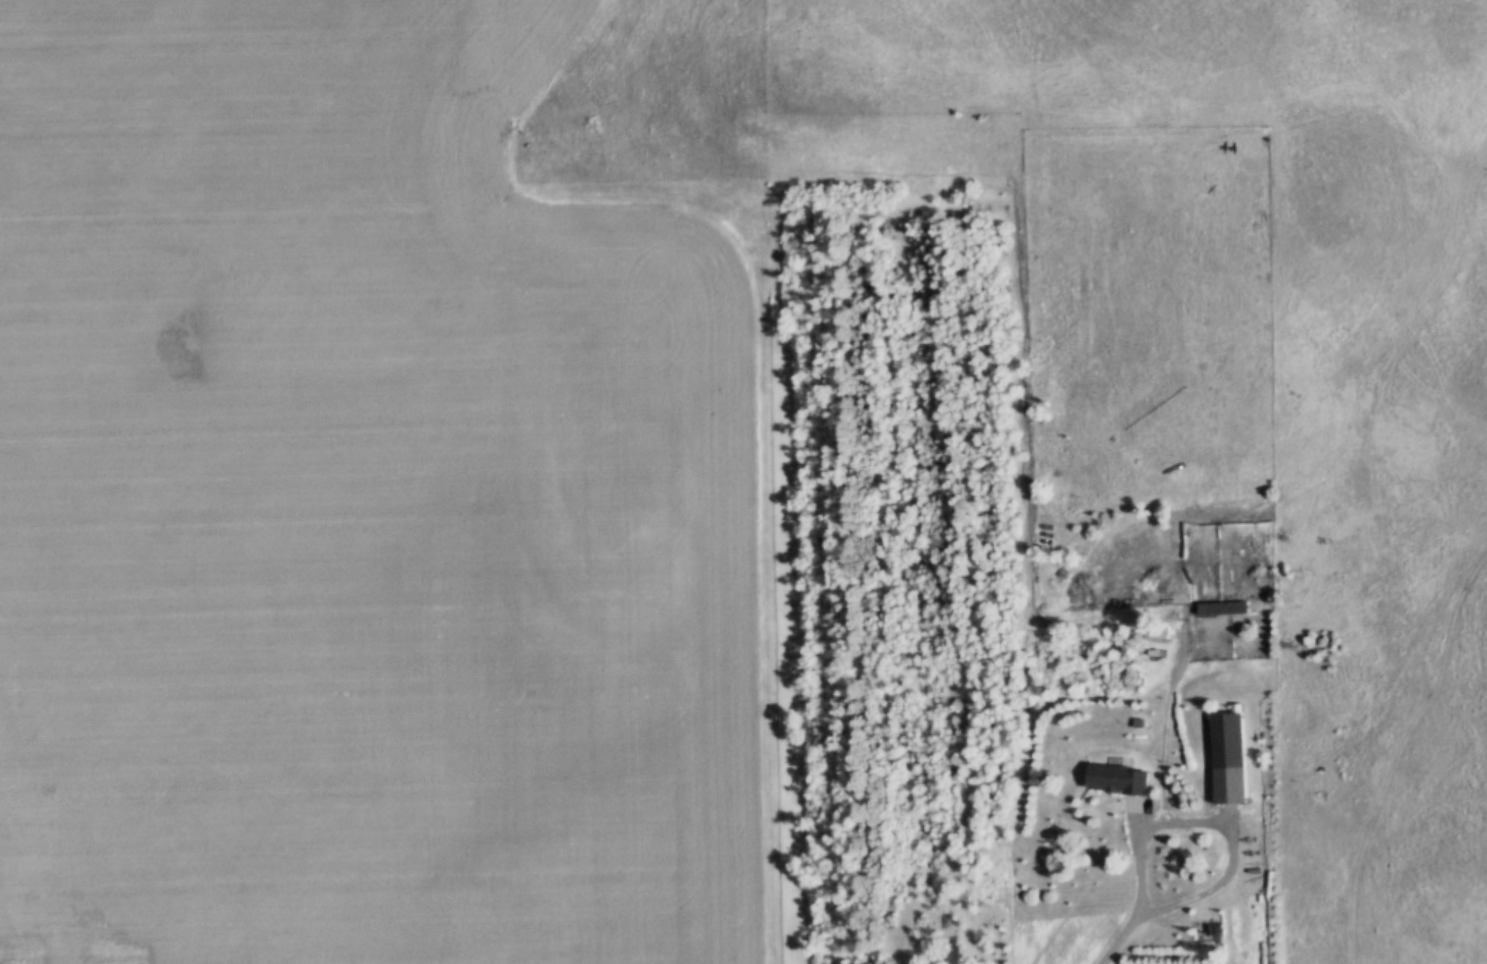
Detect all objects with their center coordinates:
building: (1226, 610)
building: (1225, 741)
building: (1117, 781)
road: (1140, 889)
building: (1201, 932)

